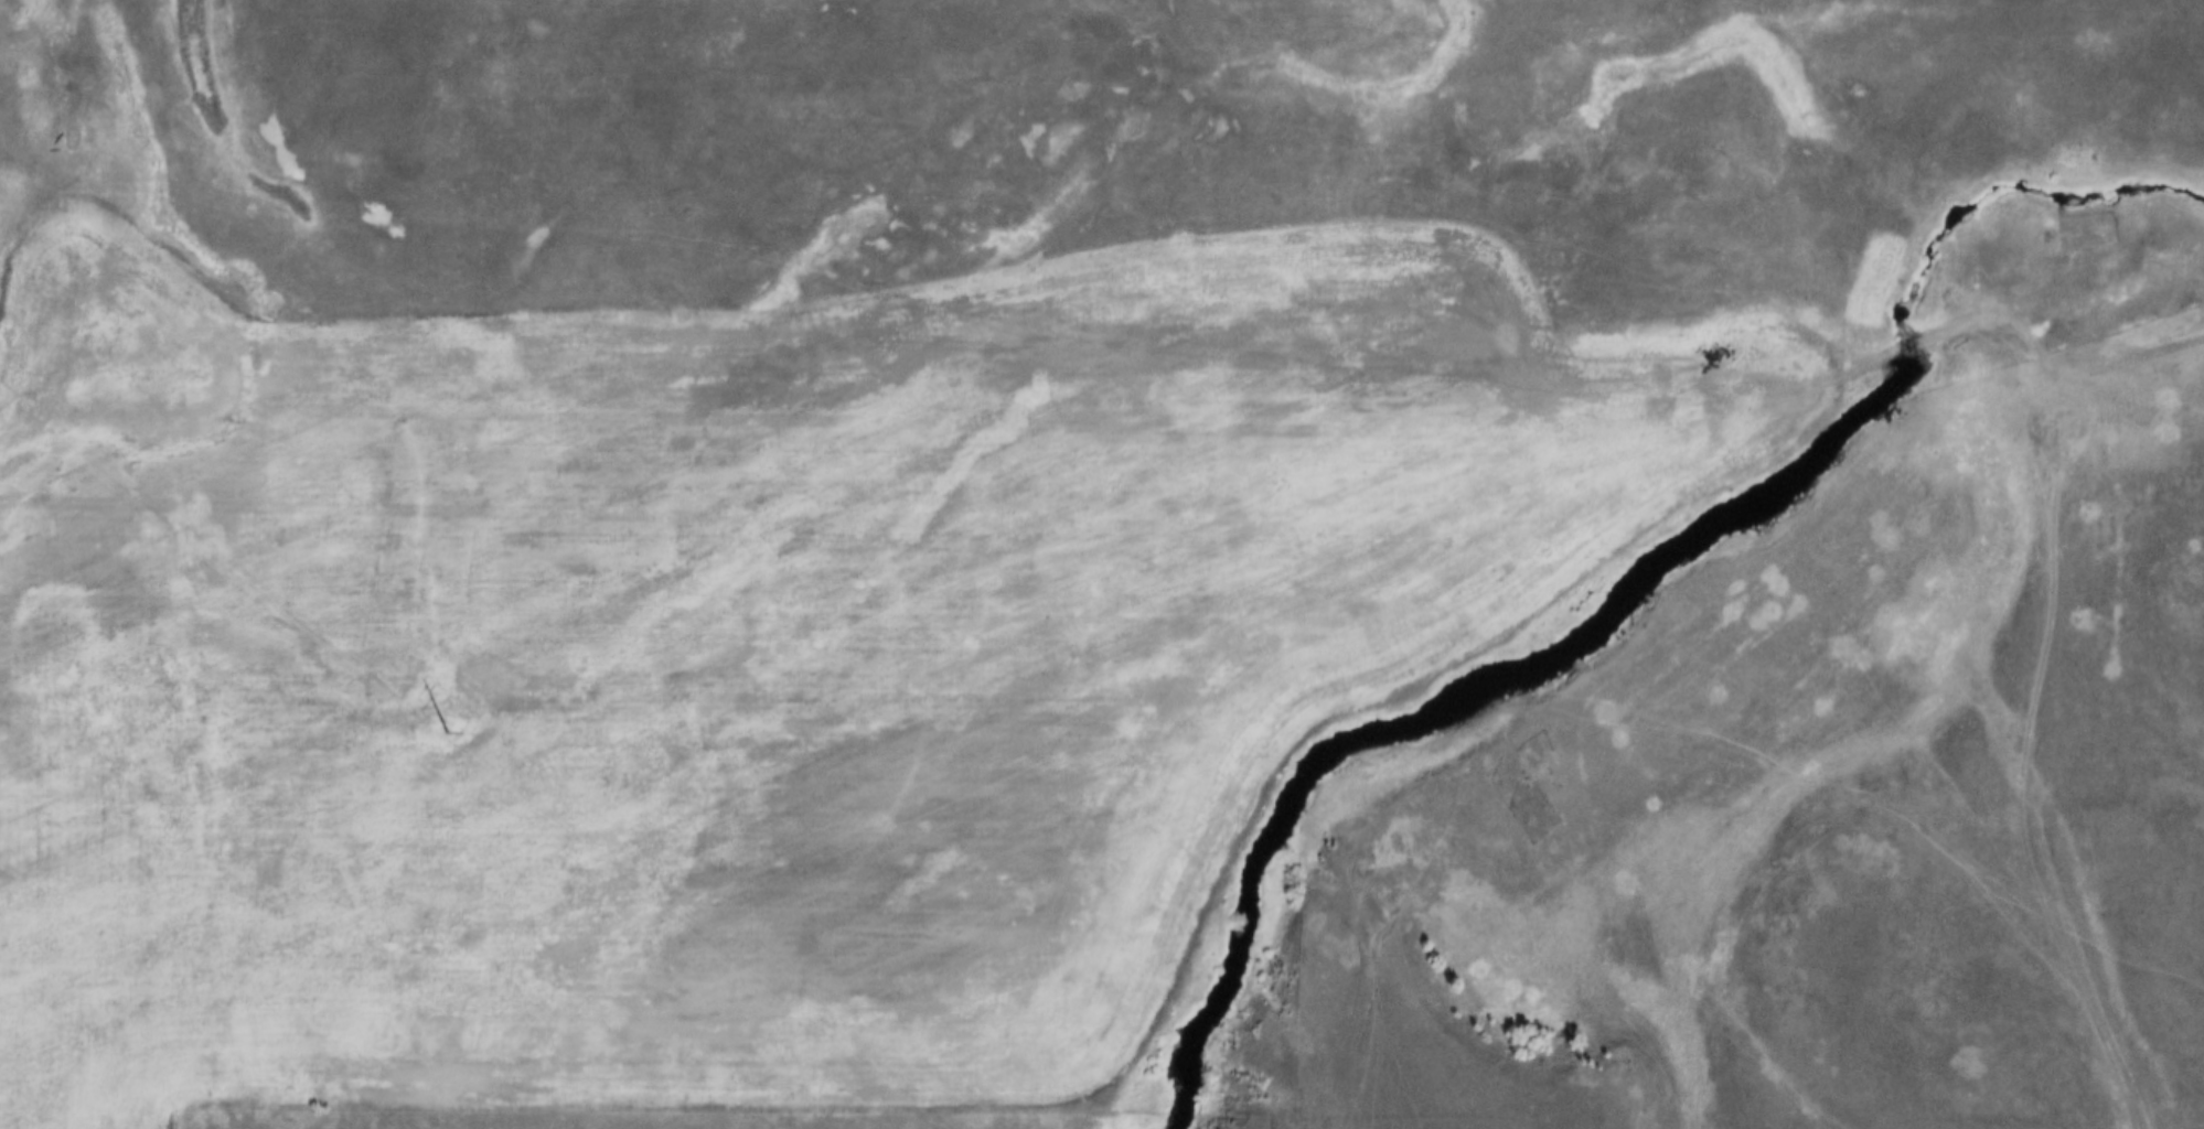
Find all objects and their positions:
power tower: (446, 731)
road: (1933, 834)

